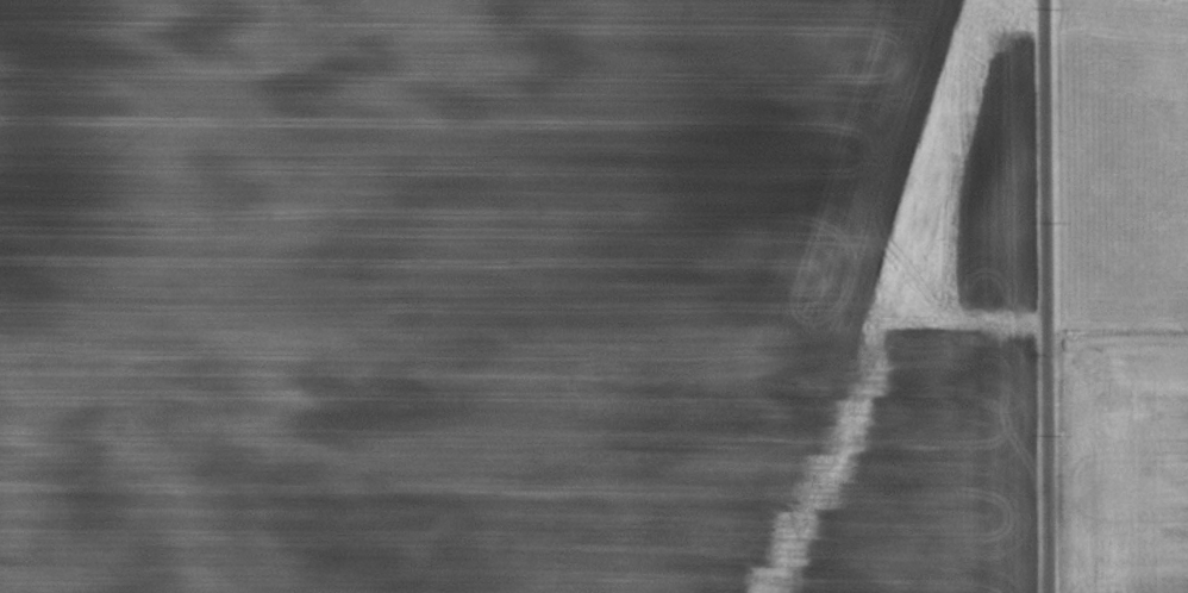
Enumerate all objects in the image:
road: (1045, 296)

